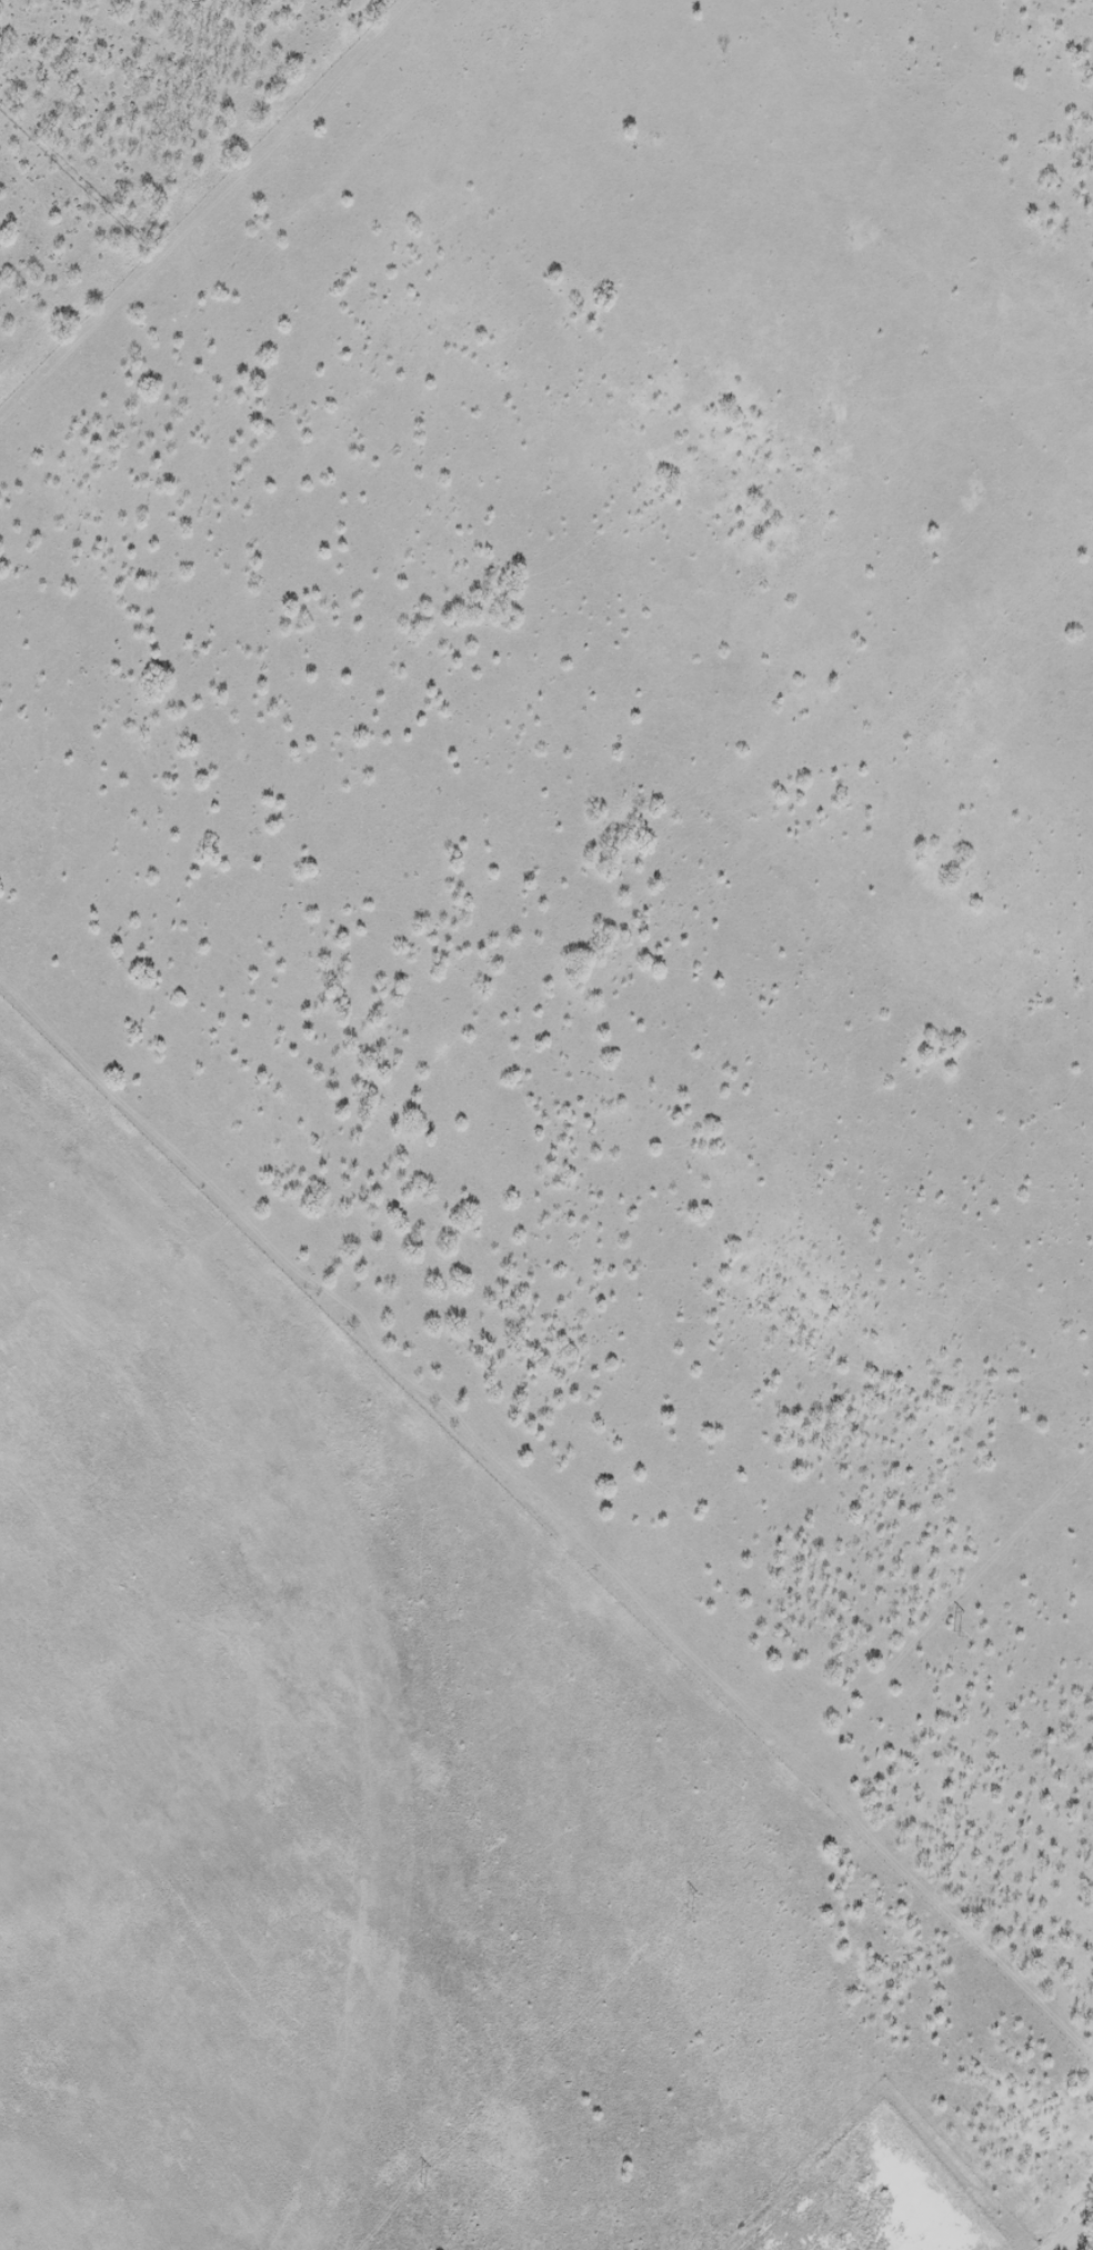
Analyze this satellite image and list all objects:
power tower: (954, 1636)
power tower: (686, 1911)
power tower: (420, 2187)

